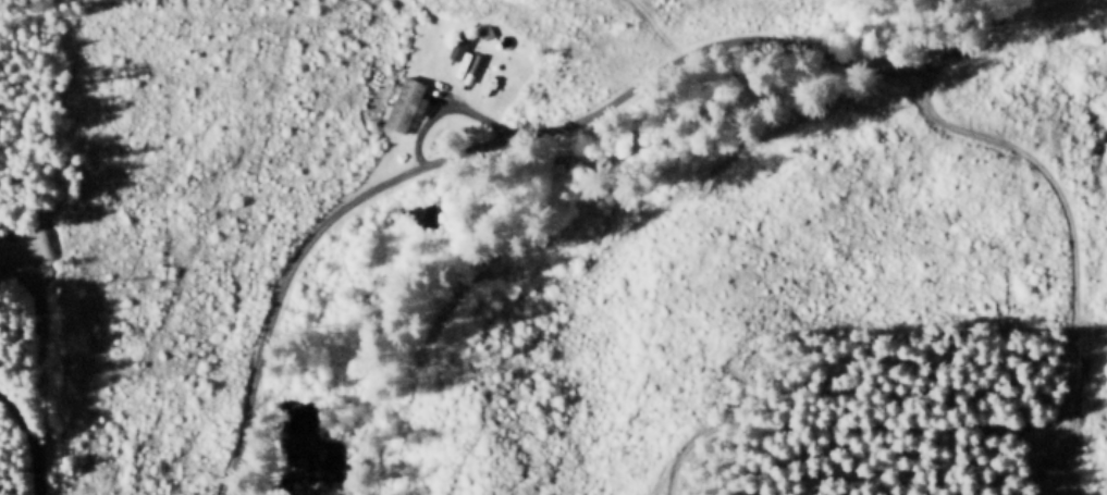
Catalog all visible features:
building: (495, 28)
building: (460, 48)
building: (406, 103)
road: (456, 108)
road: (537, 136)
road: (1058, 417)
road: (35, 436)

